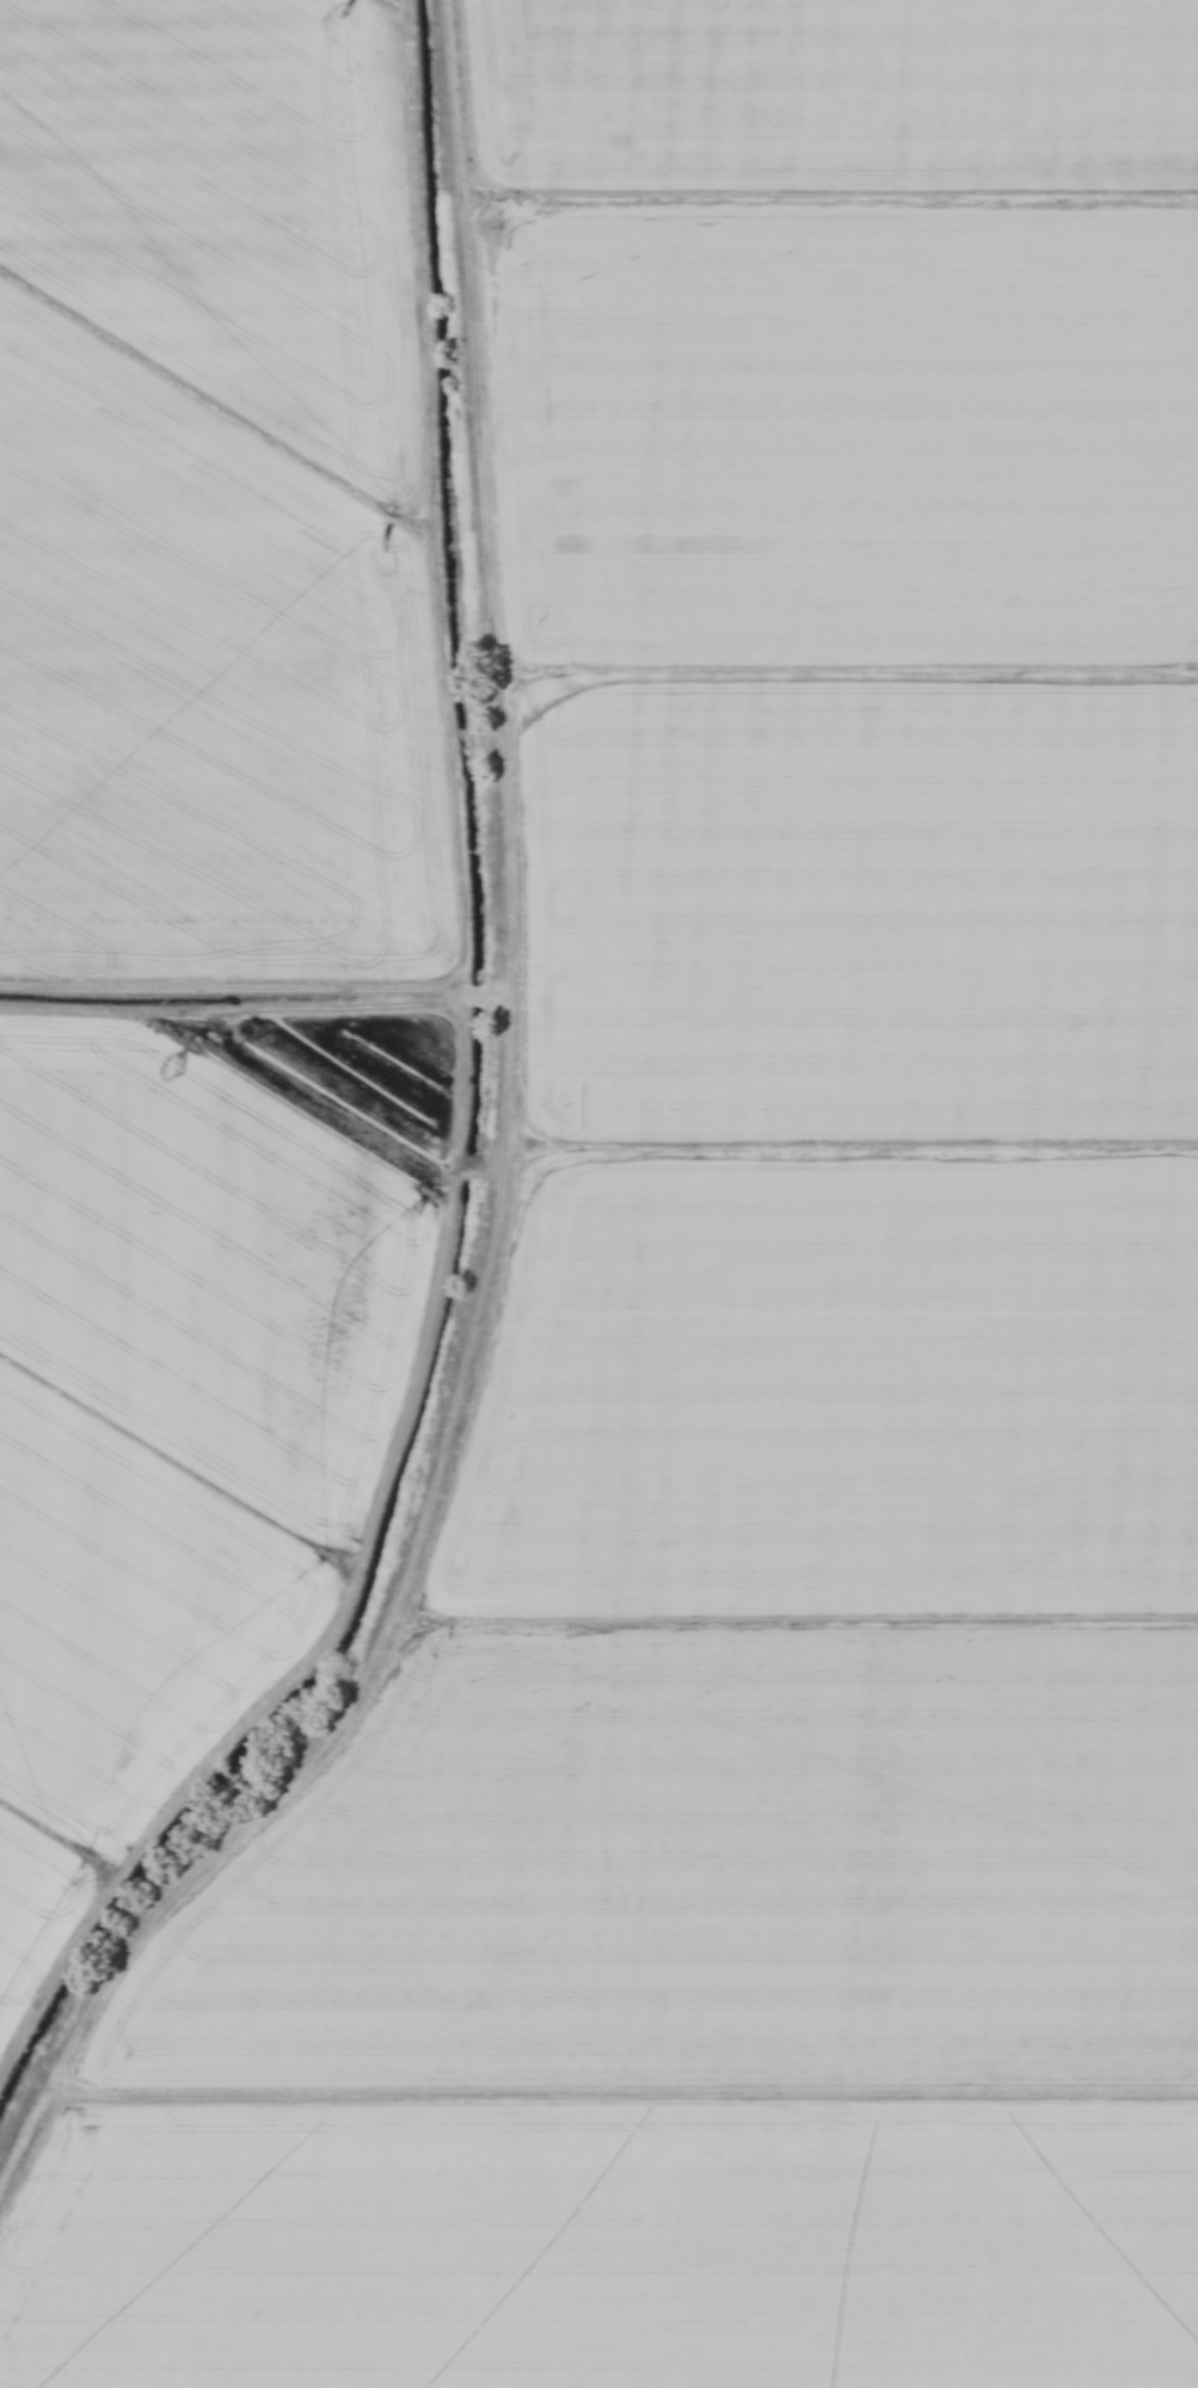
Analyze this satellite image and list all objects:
road: (558, 1177)

